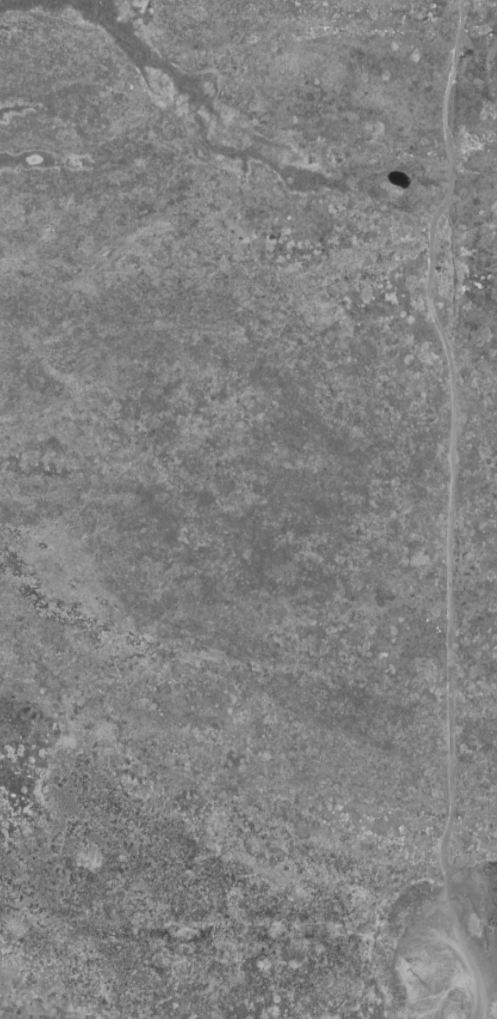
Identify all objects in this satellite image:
road: (451, 488)
road: (486, 997)

